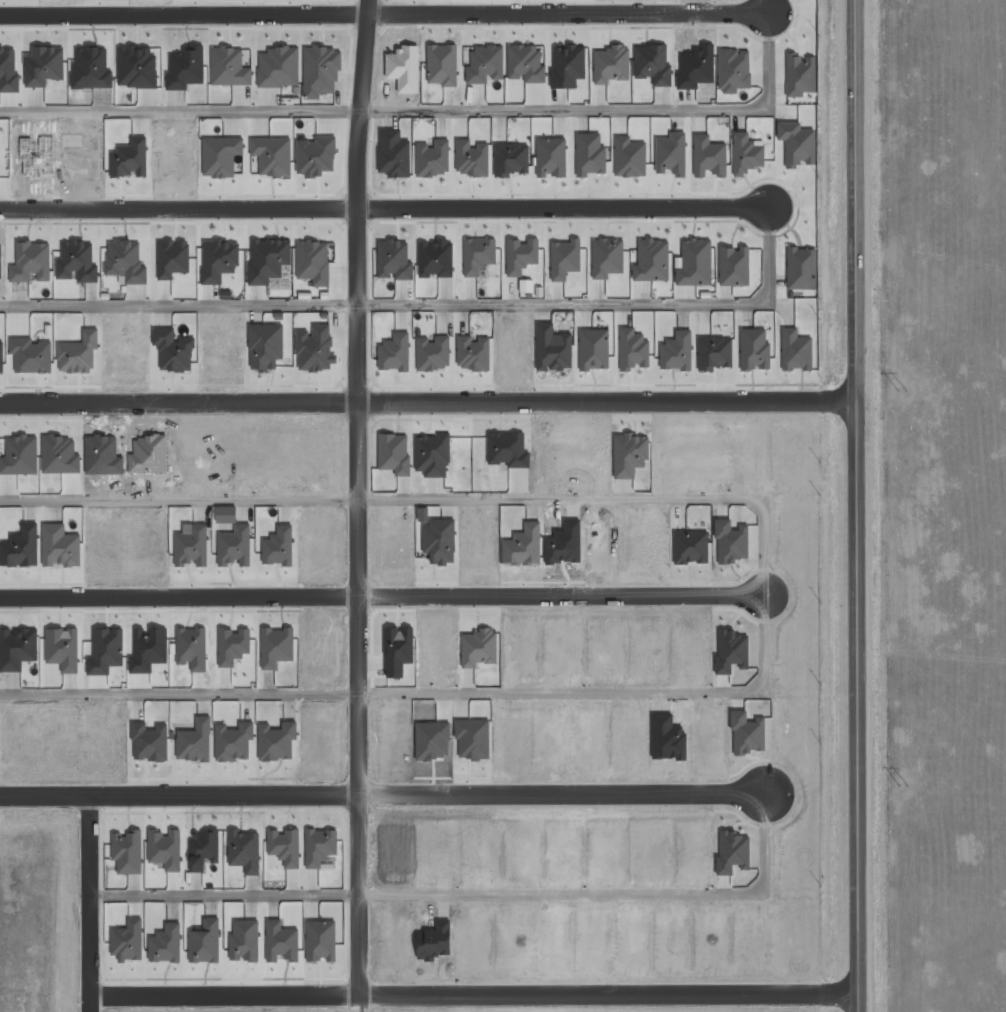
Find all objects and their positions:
road: (370, 7)
road: (185, 13)
road: (570, 14)
building: (483, 63)
building: (526, 63)
building: (610, 64)
building: (652, 64)
building: (442, 65)
building: (43, 66)
building: (567, 66)
building: (228, 67)
building: (278, 67)
building: (8, 69)
building: (320, 70)
building: (733, 70)
building: (799, 75)
road: (430, 108)
road: (362, 111)
building: (796, 144)
building: (746, 153)
building: (393, 154)
building: (671, 154)
building: (272, 155)
building: (589, 155)
building: (220, 156)
building: (708, 156)
building: (315, 157)
building: (551, 157)
building: (629, 157)
building: (432, 158)
building: (471, 158)
building: (129, 159)
building: (511, 159)
road: (179, 208)
road: (565, 208)
building: (478, 255)
building: (521, 255)
building: (172, 258)
building: (607, 258)
building: (564, 259)
building: (219, 260)
building: (268, 260)
building: (394, 260)
building: (125, 261)
building: (651, 261)
building: (31, 262)
building: (77, 262)
building: (313, 262)
building: (693, 263)
building: (733, 267)
building: (801, 269)
road: (427, 302)
road: (359, 306)
building: (265, 346)
building: (315, 349)
building: (552, 349)
building: (593, 349)
building: (632, 349)
building: (754, 349)
building: (795, 350)
building: (173, 351)
building: (676, 352)
building: (78, 353)
building: (394, 353)
building: (433, 353)
building: (473, 353)
building: (714, 353)
building: (30, 355)
building: (1, 357)
power tower: (902, 390)
road: (427, 403)
building: (432, 455)
road: (854, 506)
building: (439, 541)
building: (60, 546)
building: (523, 546)
building: (21, 547)
building: (690, 547)
road: (381, 595)
road: (763, 596)
building: (276, 647)
building: (478, 648)
building: (62, 649)
building: (731, 651)
road: (359, 700)
building: (194, 741)
building: (149, 742)
building: (233, 742)
building: (276, 742)
power tower: (904, 785)
road: (610, 794)
road: (179, 796)
building: (284, 847)
building: (319, 847)
building: (165, 849)
building: (203, 849)
building: (127, 851)
road: (560, 894)
road: (88, 897)
building: (244, 940)
building: (321, 941)
building: (205, 942)
building: (281, 942)
building: (166, 944)
road: (473, 996)

